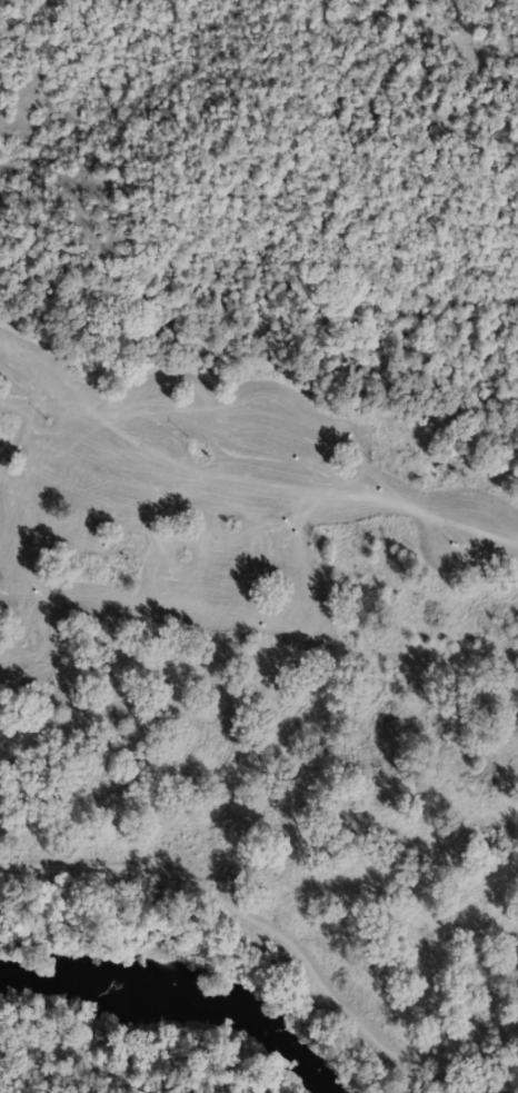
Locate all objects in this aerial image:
road: (241, 477)
river: (179, 1008)

